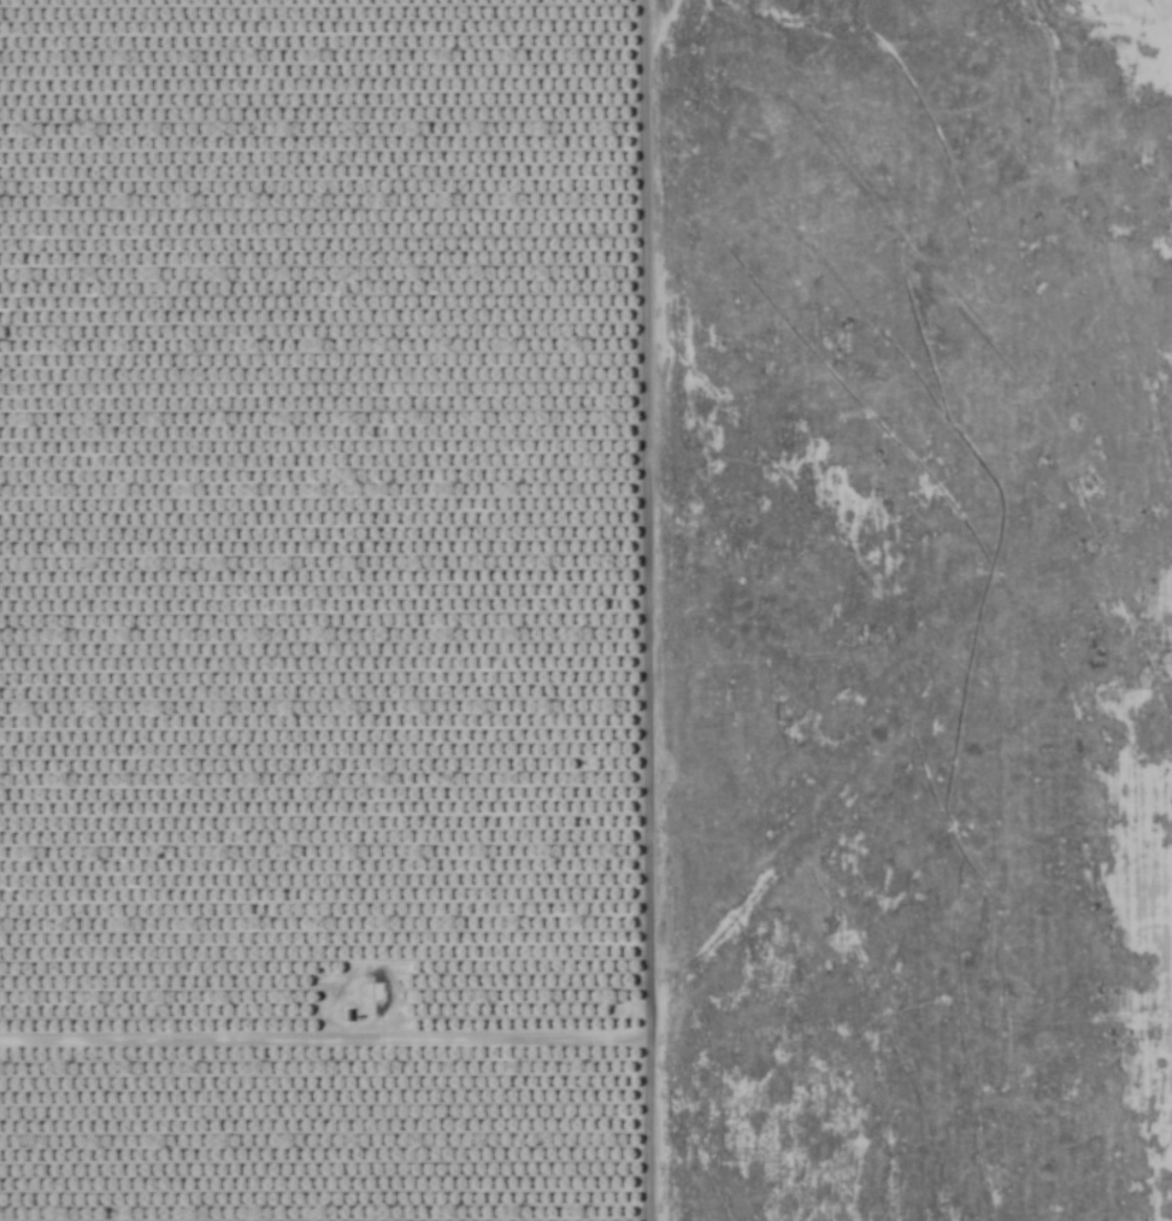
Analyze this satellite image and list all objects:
crop: (326, 610)
road: (322, 1043)

